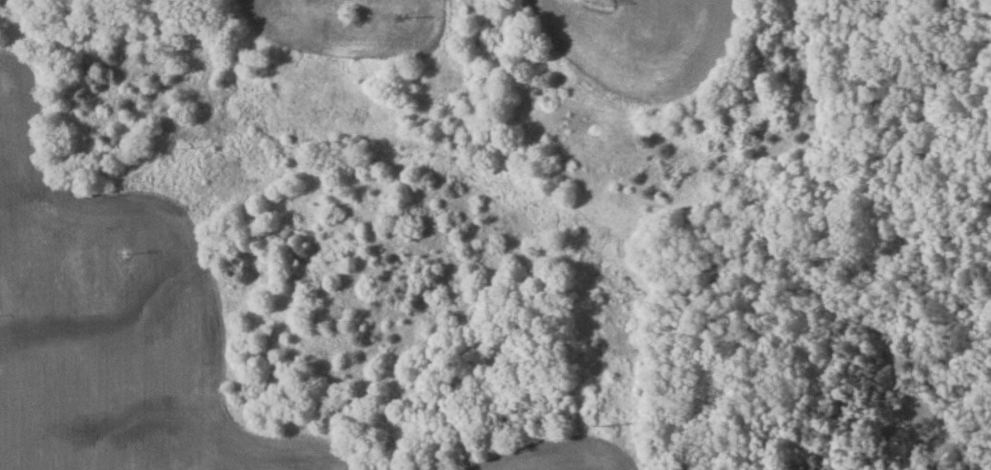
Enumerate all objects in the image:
power tower: (600, 396)

